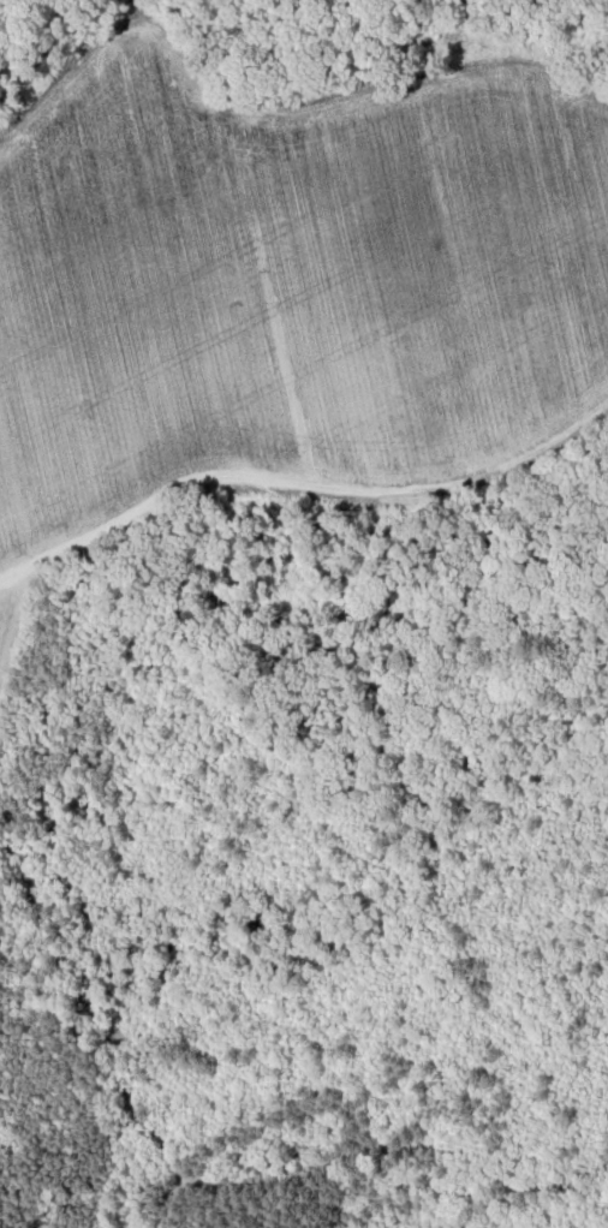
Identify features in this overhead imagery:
road: (16, 585)

